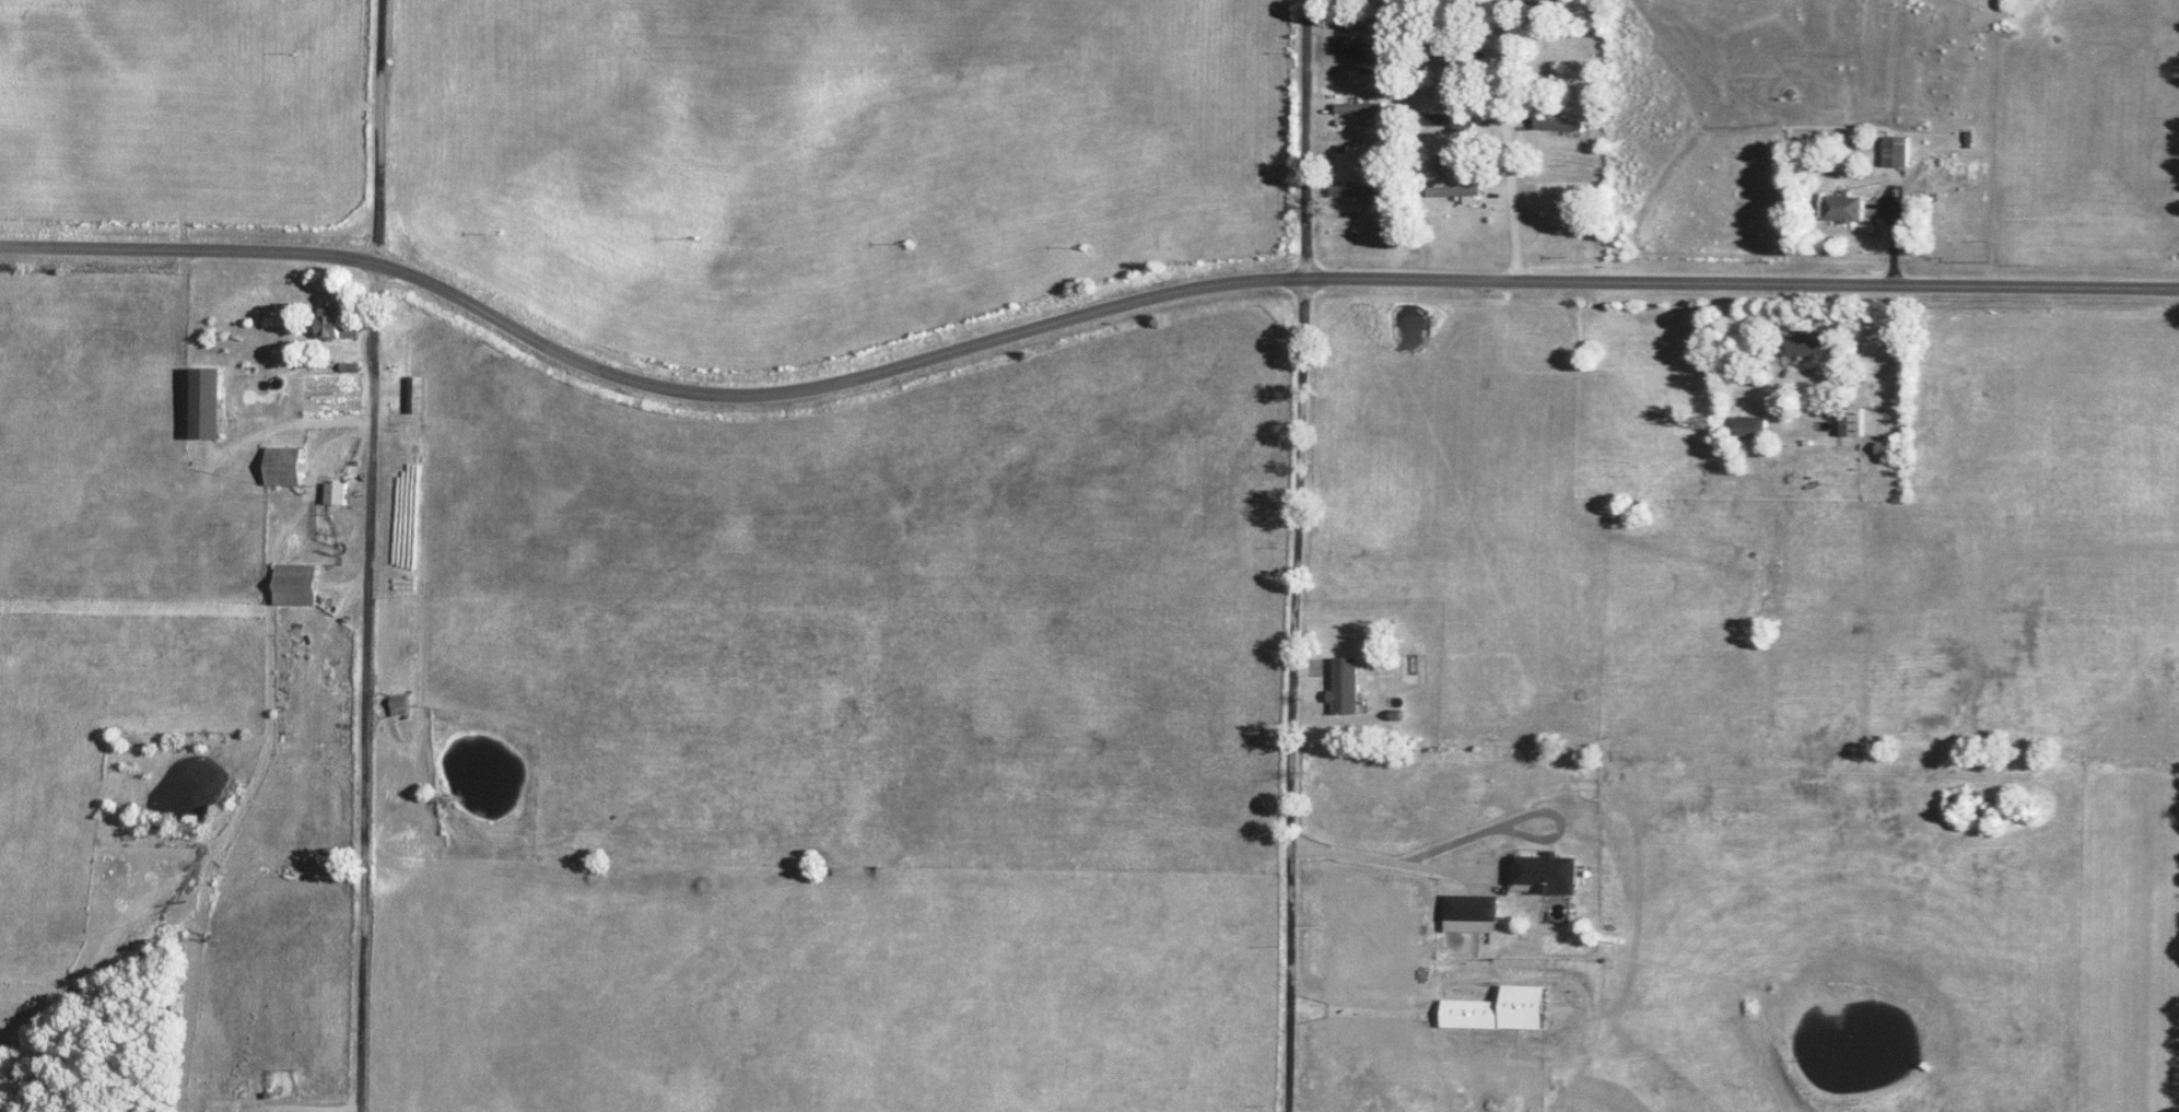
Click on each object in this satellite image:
building: (1450, 0)
building: (1550, 3)
building: (1348, 10)
building: (1372, 48)
building: (1554, 54)
building: (1454, 59)
building: (1363, 107)
building: (1450, 119)
building: (1558, 125)
road: (1312, 141)
road: (1511, 142)
building: (1895, 150)
building: (1562, 185)
building: (1454, 189)
building: (1361, 190)
building: (1842, 207)
road: (1891, 234)
building: (336, 324)
road: (1074, 325)
building: (1802, 343)
road: (1772, 352)
building: (418, 395)
building: (210, 402)
building: (1850, 421)
building: (1747, 428)
building: (1884, 448)
building: (285, 466)
building: (339, 493)
road: (306, 506)
road: (372, 555)
building: (298, 584)
building: (1349, 687)
road: (1297, 697)
building: (405, 706)
road: (1392, 869)
building: (1549, 871)
building: (1472, 906)
airport runway: (2153, 943)

